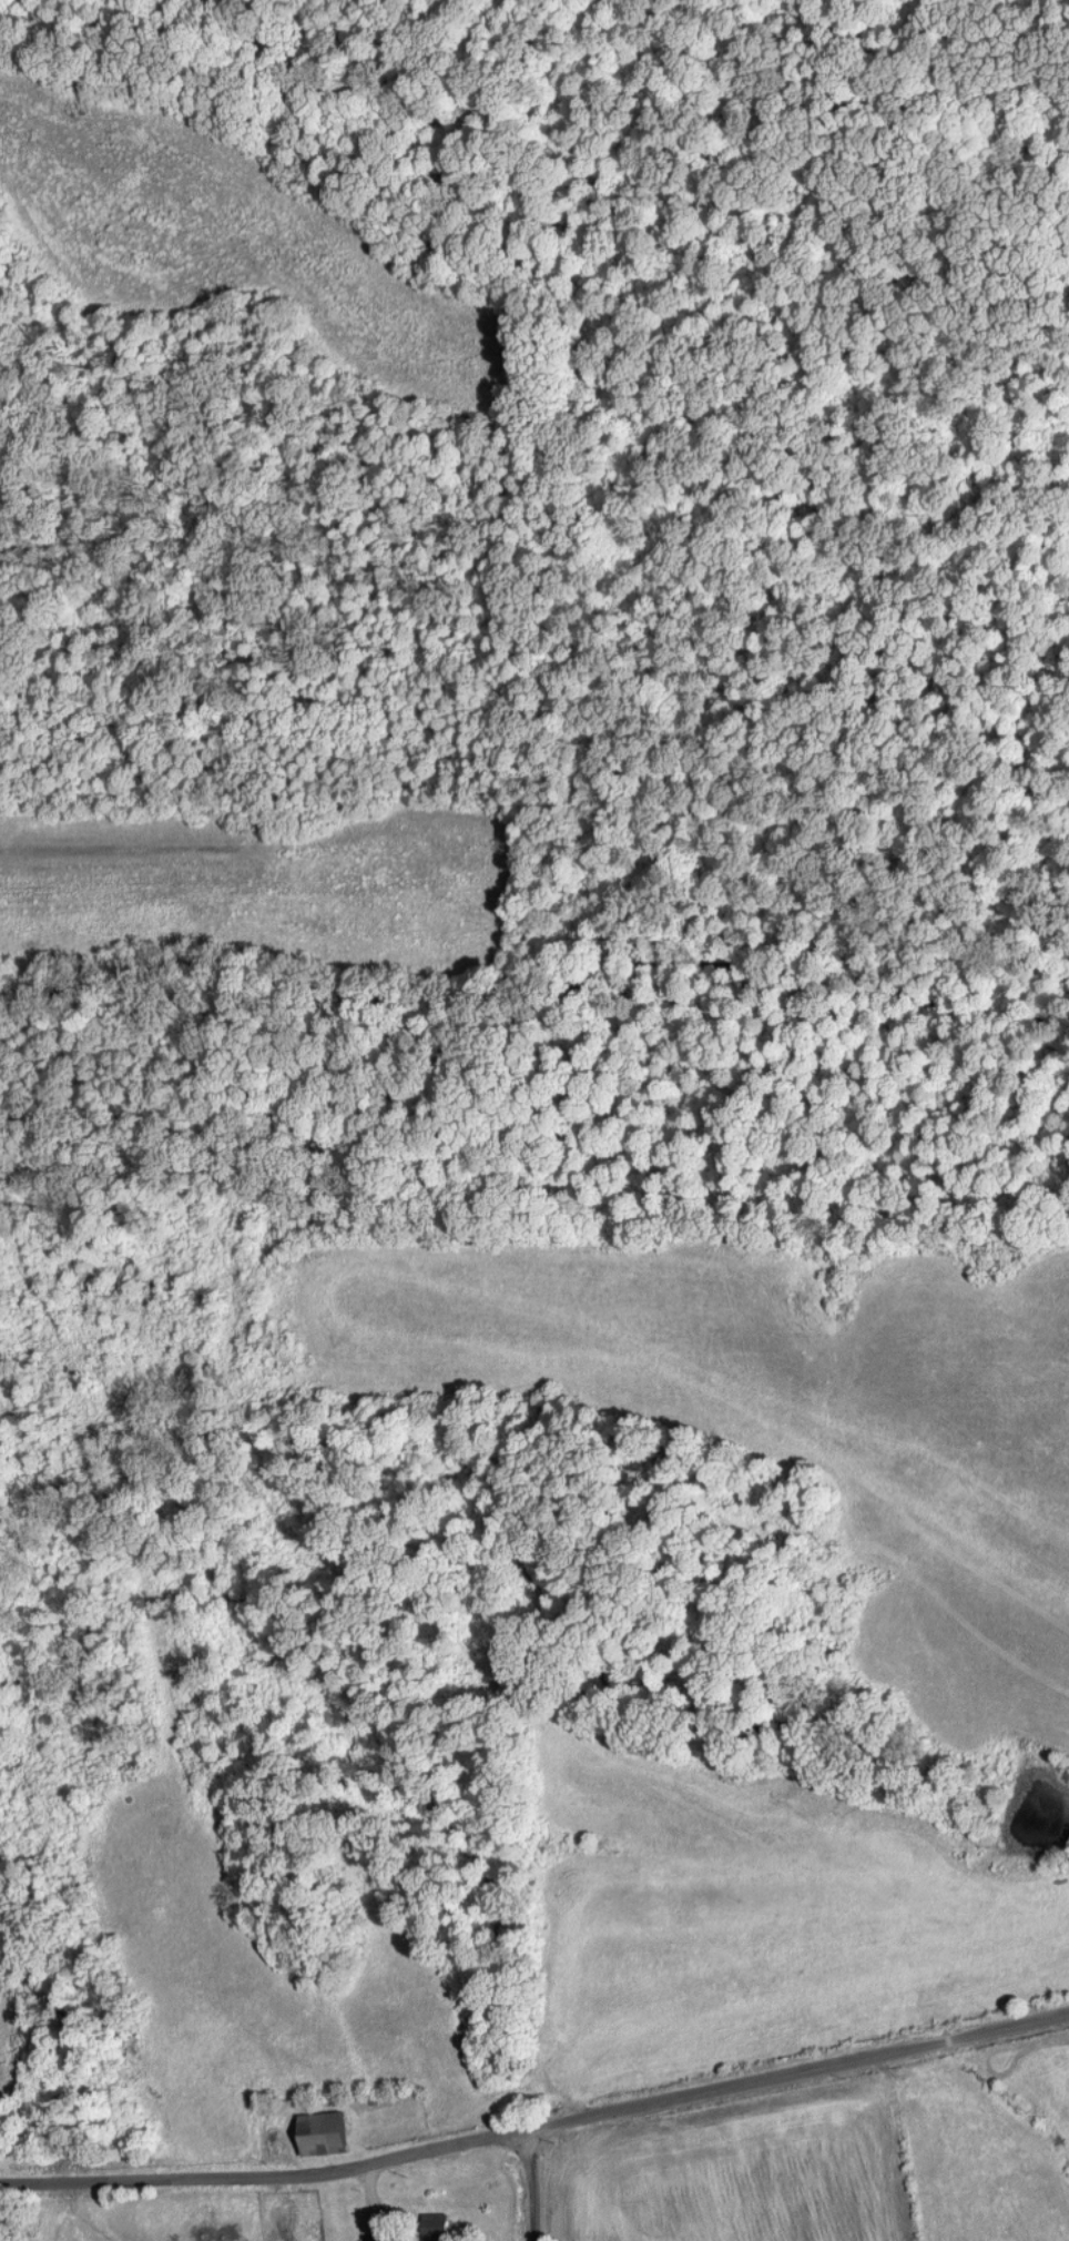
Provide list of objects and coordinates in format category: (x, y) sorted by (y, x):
road: (537, 2125)
building: (319, 2133)
road: (536, 2183)
building: (434, 2227)

